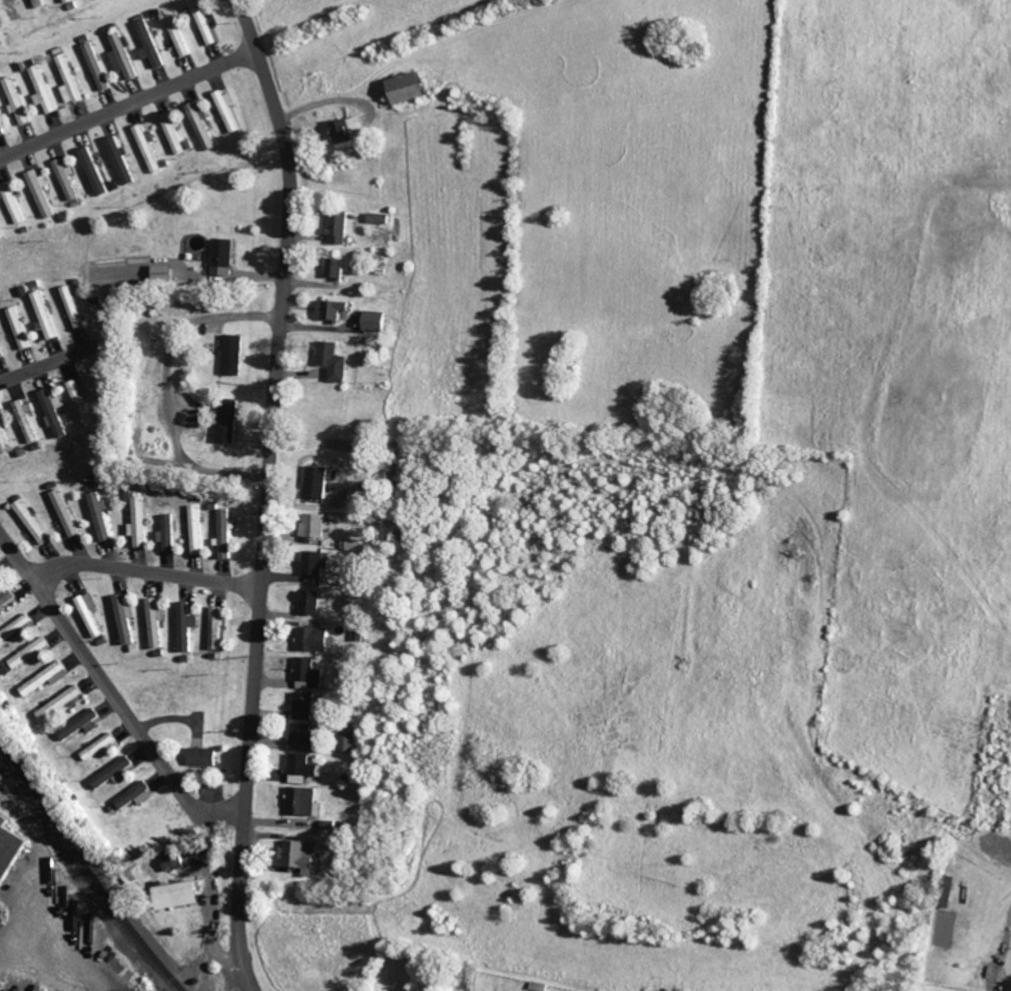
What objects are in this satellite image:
building: (71, 1)
building: (42, 3)
building: (209, 26)
building: (182, 36)
building: (0, 39)
building: (154, 44)
building: (126, 57)
building: (73, 81)
building: (413, 88)
building: (46, 90)
building: (20, 101)
road: (130, 103)
building: (230, 109)
building: (204, 125)
building: (350, 130)
building: (176, 131)
building: (150, 148)
building: (97, 171)
building: (70, 179)
building: (44, 193)
building: (15, 203)
building: (382, 219)
building: (342, 229)
building: (1, 235)
building: (226, 257)
building: (341, 268)
building: (166, 274)
building: (76, 308)
building: (334, 310)
building: (47, 316)
building: (379, 321)
building: (21, 328)
building: (1, 352)
building: (236, 356)
road: (49, 362)
building: (337, 362)
building: (83, 401)
building: (56, 413)
building: (28, 422)
building: (231, 422)
building: (4, 436)
building: (321, 483)
road: (270, 492)
building: (67, 513)
building: (102, 516)
building: (34, 522)
building: (141, 522)
building: (316, 527)
building: (199, 530)
building: (170, 533)
building: (227, 534)
building: (354, 545)
building: (316, 563)
road: (148, 569)
building: (0, 574)
building: (7, 599)
building: (311, 603)
building: (91, 614)
building: (125, 619)
building: (157, 623)
building: (188, 627)
building: (16, 629)
building: (218, 629)
building: (318, 640)
building: (32, 653)
road: (97, 668)
building: (310, 674)
building: (48, 678)
building: (61, 702)
building: (306, 706)
building: (82, 724)
building: (306, 735)
building: (349, 740)
building: (101, 746)
building: (205, 756)
building: (304, 769)
building: (114, 773)
building: (136, 795)
building: (305, 801)
road: (194, 808)
building: (8, 847)
building: (301, 854)
road: (44, 860)
building: (174, 862)
railway: (88, 870)
building: (178, 895)
road: (1009, 943)
road: (23, 951)
road: (72, 967)

